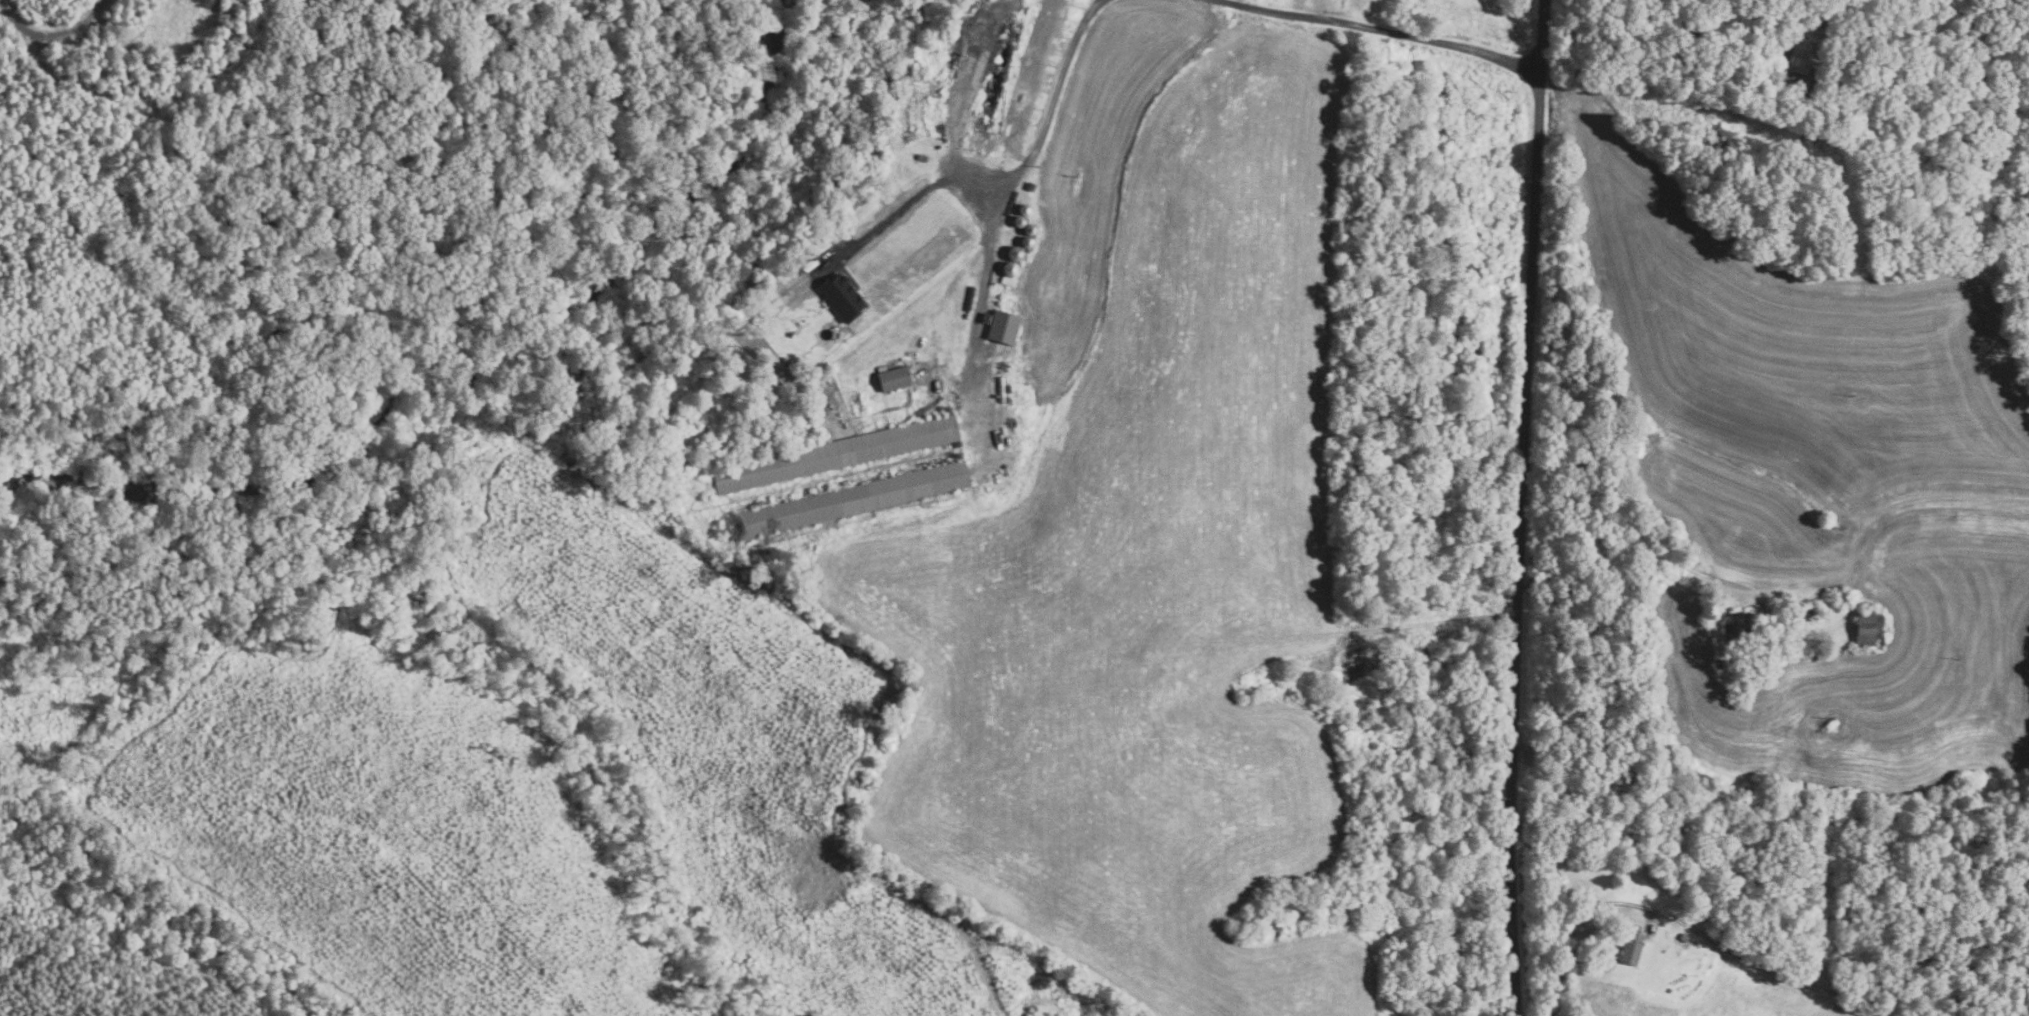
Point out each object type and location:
road: (1367, 33)
road: (51, 34)
building: (1843, 50)
road: (1722, 55)
building: (1799, 56)
building: (921, 157)
road: (1014, 178)
building: (1029, 186)
road: (919, 194)
building: (1022, 208)
silo: (1022, 208)
building: (1017, 221)
silo: (1017, 221)
building: (1028, 229)
silo: (1028, 229)
building: (1025, 241)
silo: (1025, 241)
building: (1013, 253)
silo: (1013, 253)
building: (1008, 268)
silo: (1008, 268)
building: (1006, 280)
building: (840, 297)
building: (757, 320)
building: (1002, 326)
building: (893, 379)
building: (835, 454)
crop: (1824, 483)
building: (845, 501)
road: (1522, 507)
crop: (1144, 553)
road: (1746, 592)
building: (1807, 611)
building: (1735, 627)
building: (1869, 628)
building: (1769, 629)
road: (1360, 631)
building: (1774, 650)
building: (1718, 663)
road: (1689, 923)
building: (1683, 937)
building: (1631, 948)
building: (1669, 990)
crop: (1726, 998)

